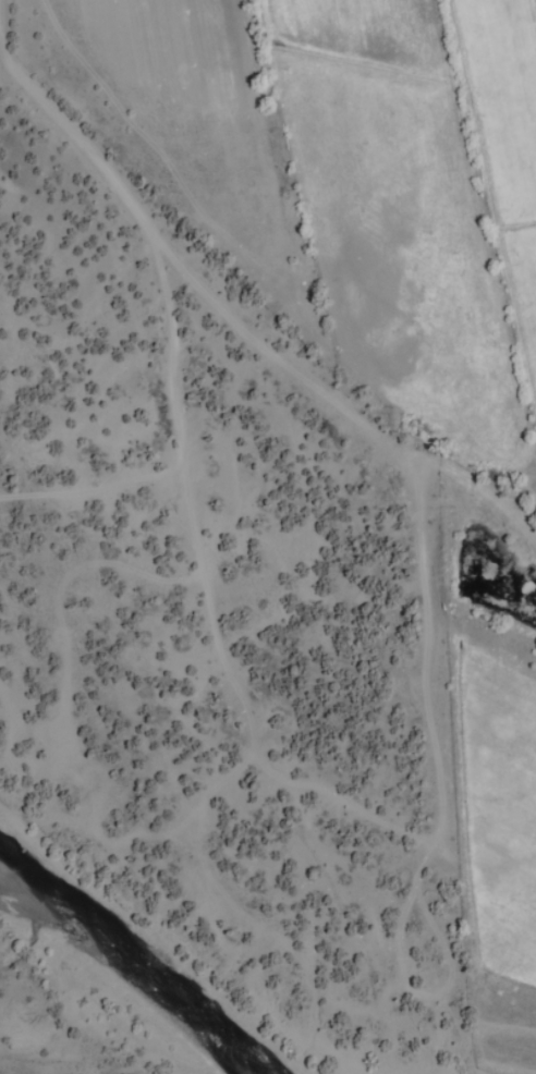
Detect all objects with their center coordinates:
river: (127, 977)

